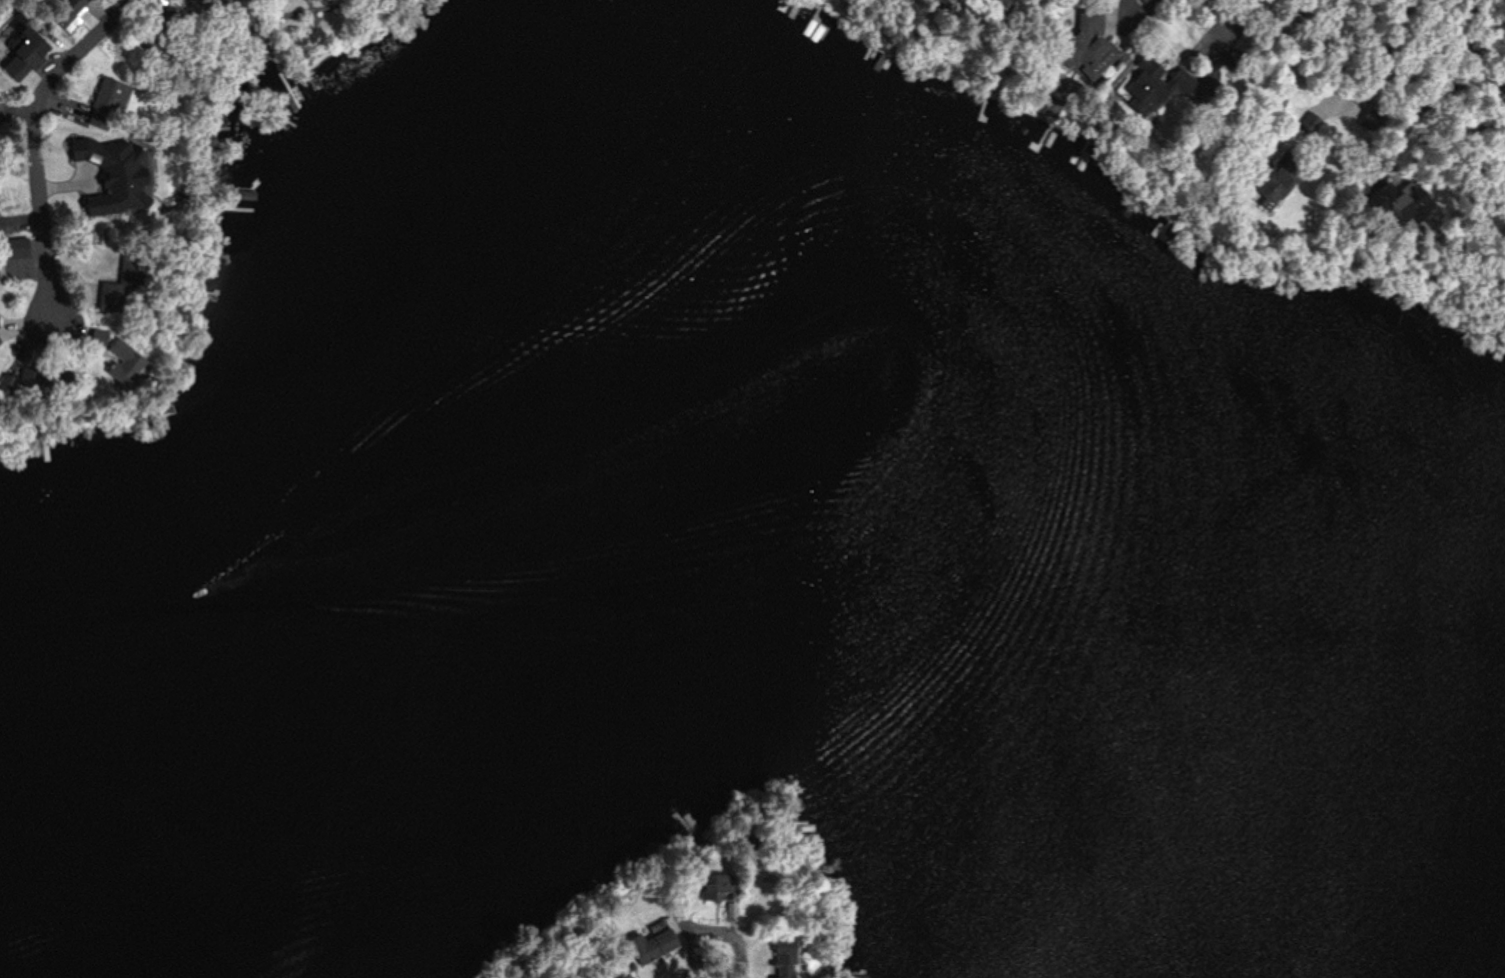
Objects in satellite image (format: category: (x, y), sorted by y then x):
building: (71, 14)
road: (1228, 17)
road: (1468, 34)
building: (1084, 44)
building: (20, 55)
building: (299, 58)
building: (1142, 84)
road: (1486, 88)
building: (108, 97)
road: (31, 151)
building: (12, 248)
building: (714, 887)
building: (654, 941)
road: (716, 945)
building: (638, 955)

